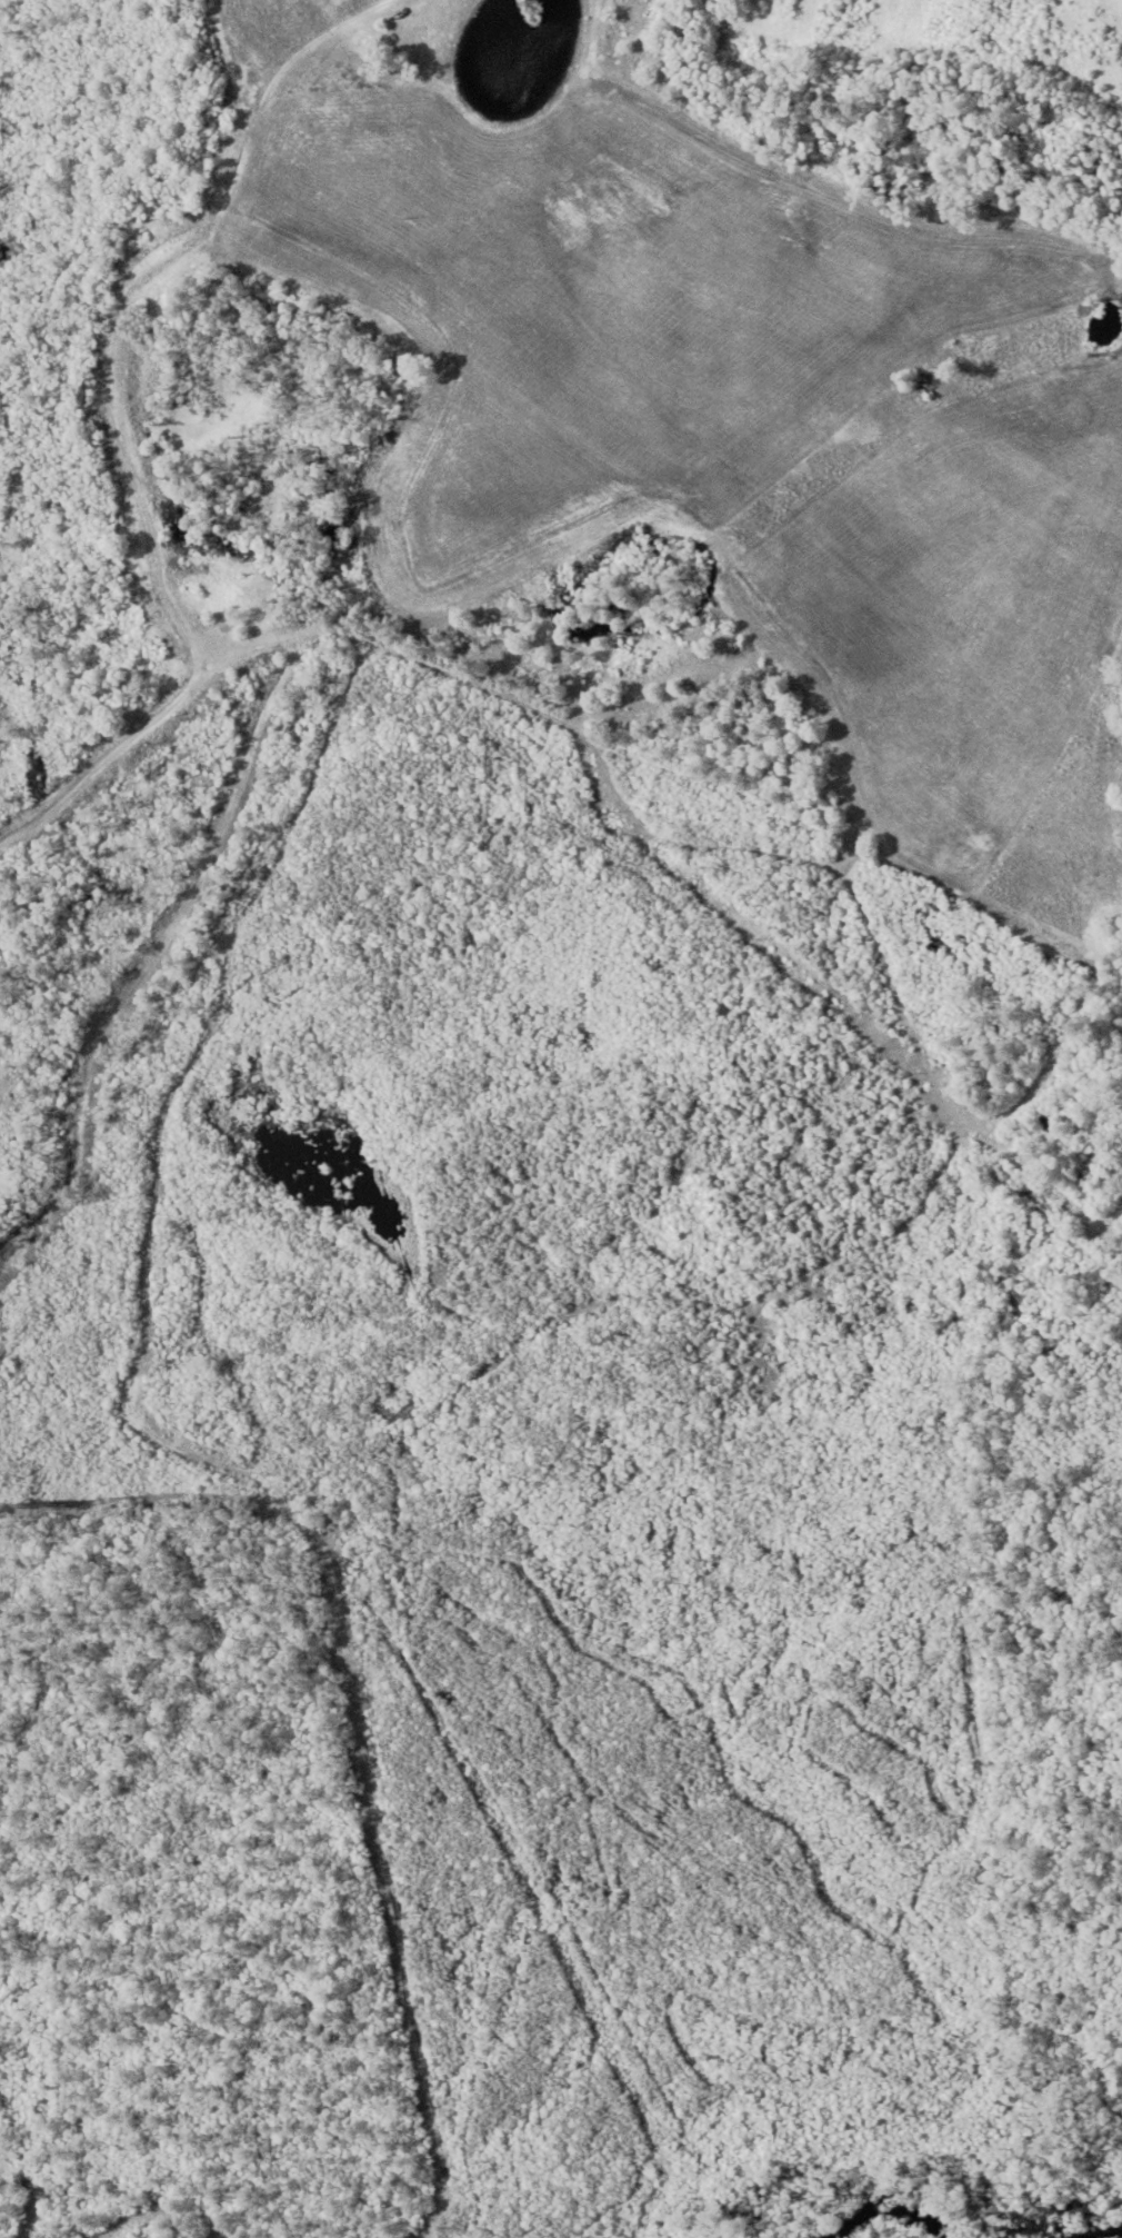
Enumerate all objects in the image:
road: (979, 1063)
building: (989, 1080)
building: (1048, 1122)
building: (914, 1305)

